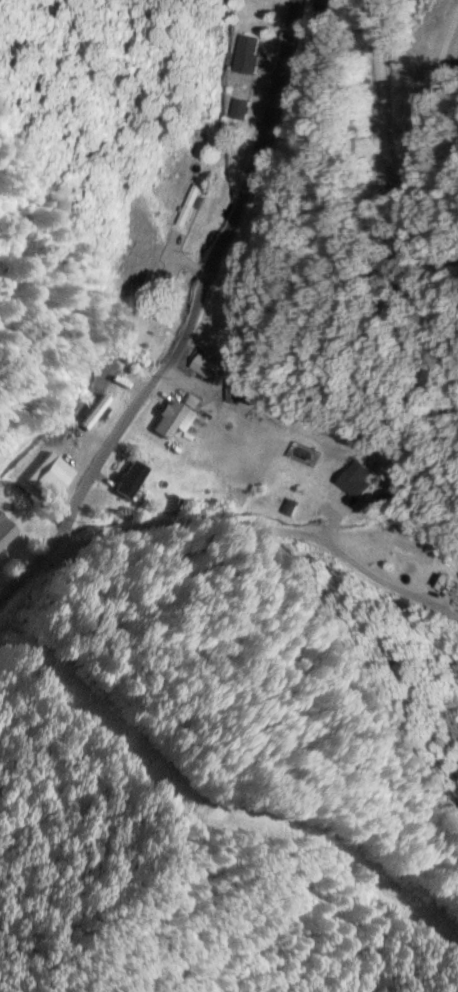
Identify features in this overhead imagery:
building: (246, 53)
building: (239, 108)
building: (194, 199)
road: (189, 318)
building: (165, 418)
building: (47, 477)
building: (127, 478)
building: (350, 478)
building: (4, 530)
road: (253, 582)

